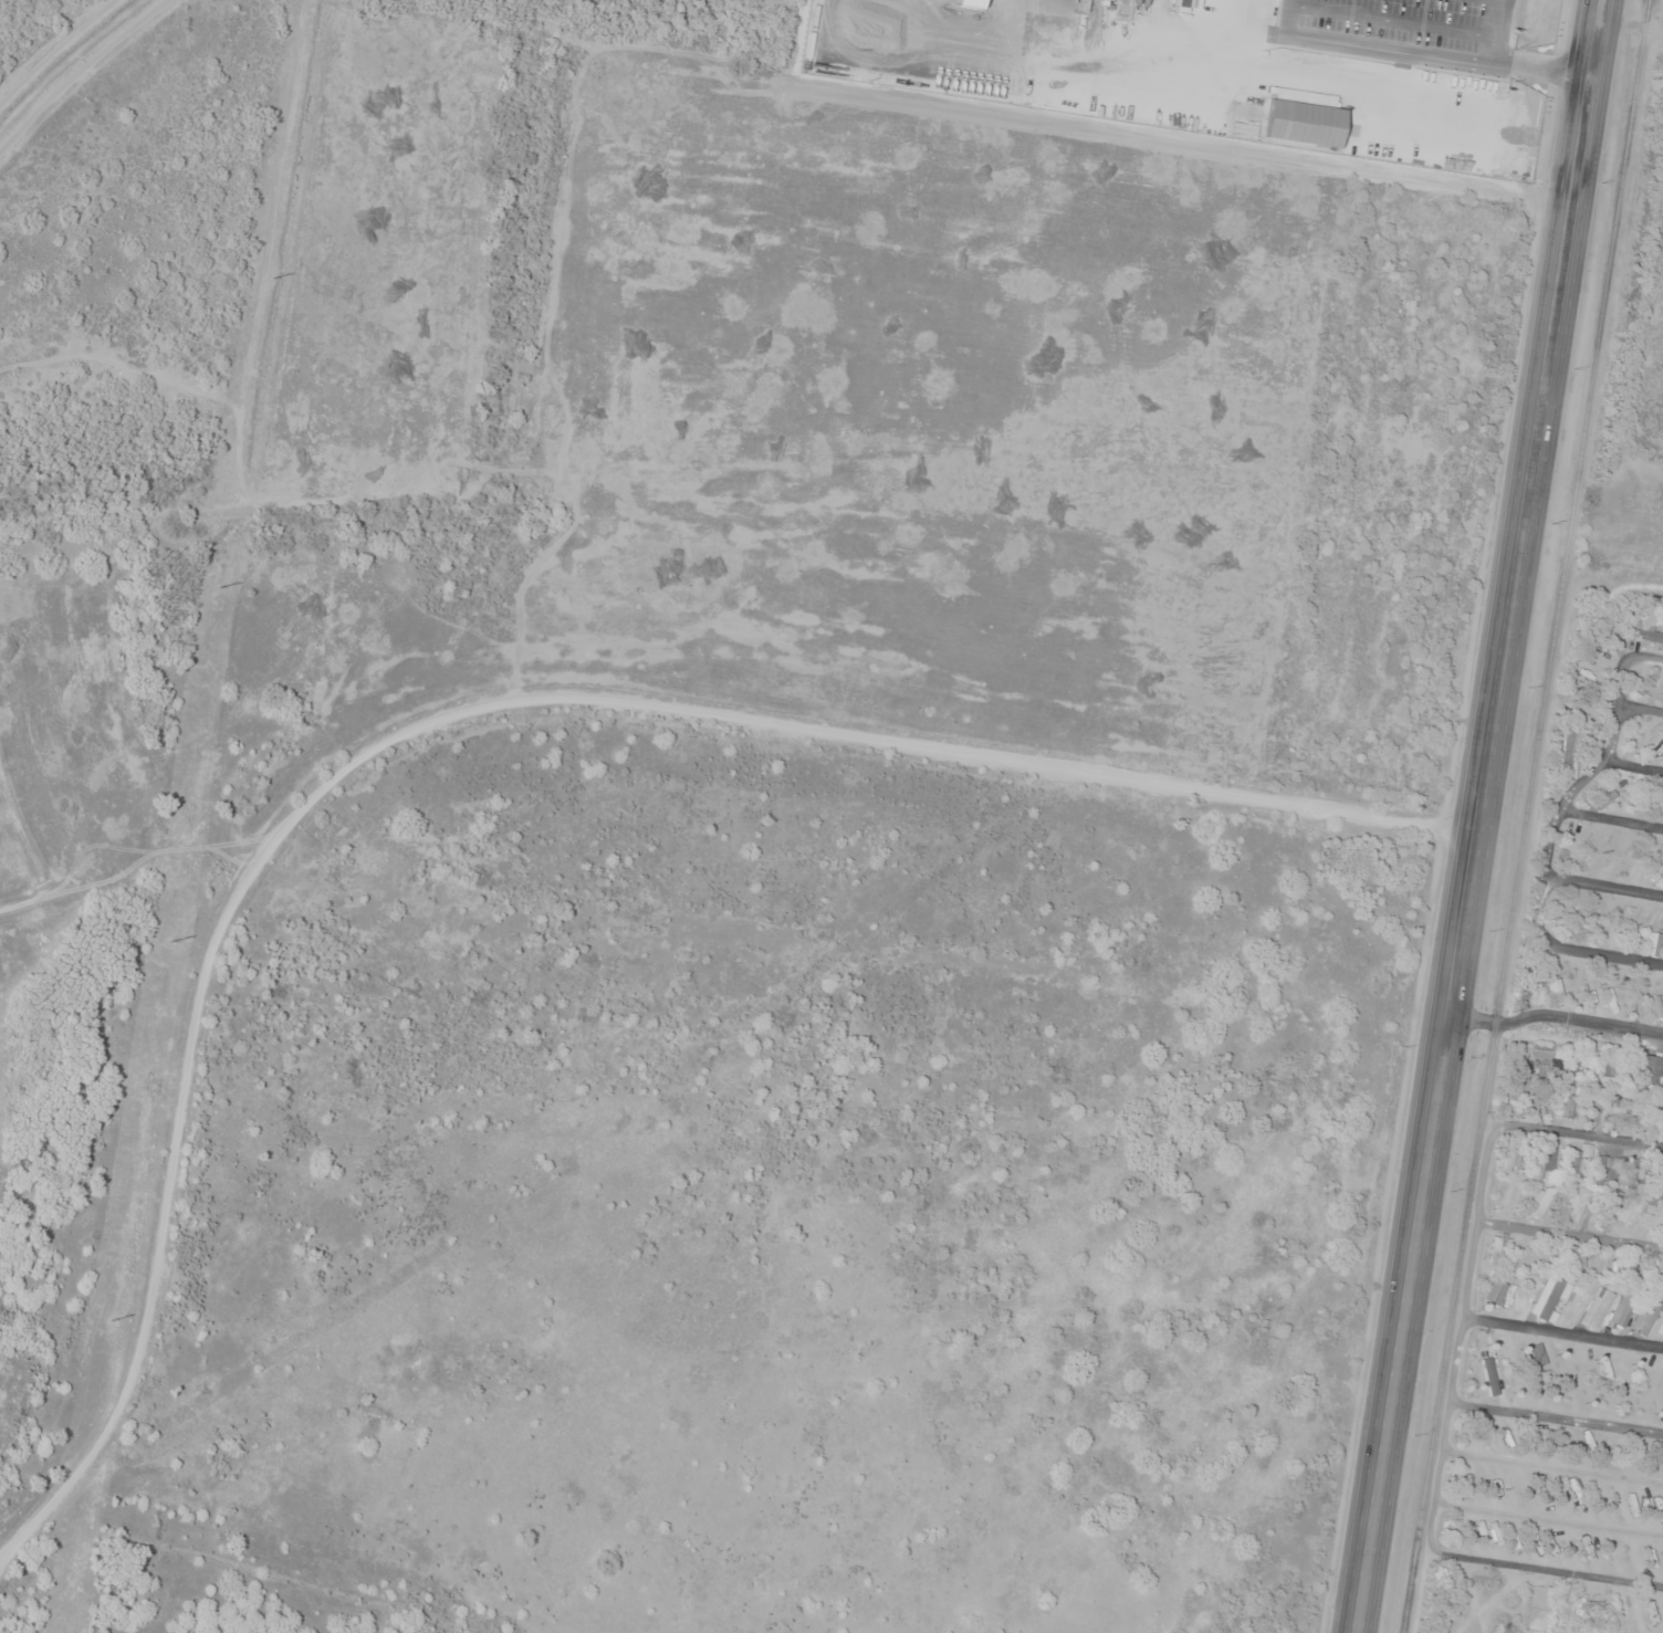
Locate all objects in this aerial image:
building: (1645, 632)
road: (1624, 661)
road: (1639, 710)
building: (1571, 752)
road: (1632, 762)
building: (1602, 798)
road: (1614, 814)
road: (1482, 816)
railway: (1526, 816)
road: (1562, 816)
building: (1583, 836)
building: (1627, 845)
building: (1650, 846)
road: (1606, 884)
building: (1653, 943)
road: (1602, 949)
building: (1554, 992)
building: (1590, 996)
building: (1651, 1008)
road: (1560, 1016)
building: (1541, 1058)
building: (1645, 1070)
building: (1600, 1074)
building: (1567, 1106)
building: (1586, 1109)
building: (1613, 1119)
building: (1660, 1126)
road: (1578, 1128)
building: (1512, 1154)
building: (1544, 1158)
building: (1578, 1163)
building: (1599, 1171)
building: (1634, 1173)
building: (1540, 1200)
building: (1577, 1205)
building: (1656, 1207)
building: (1606, 1208)
building: (1630, 1213)
road: (1570, 1232)
building: (1500, 1248)
building: (1536, 1254)
building: (1572, 1260)
building: (1594, 1264)
building: (1615, 1264)
building: (1631, 1267)
building: (1655, 1275)
building: (1495, 1291)
building: (1549, 1298)
building: (1597, 1307)
building: (1621, 1310)
building: (1646, 1315)
road: (1565, 1329)
road: (1463, 1333)
building: (1536, 1355)
building: (1486, 1378)
road: (1558, 1415)
road: (1555, 1467)
road: (1549, 1517)
road: (1547, 1567)

